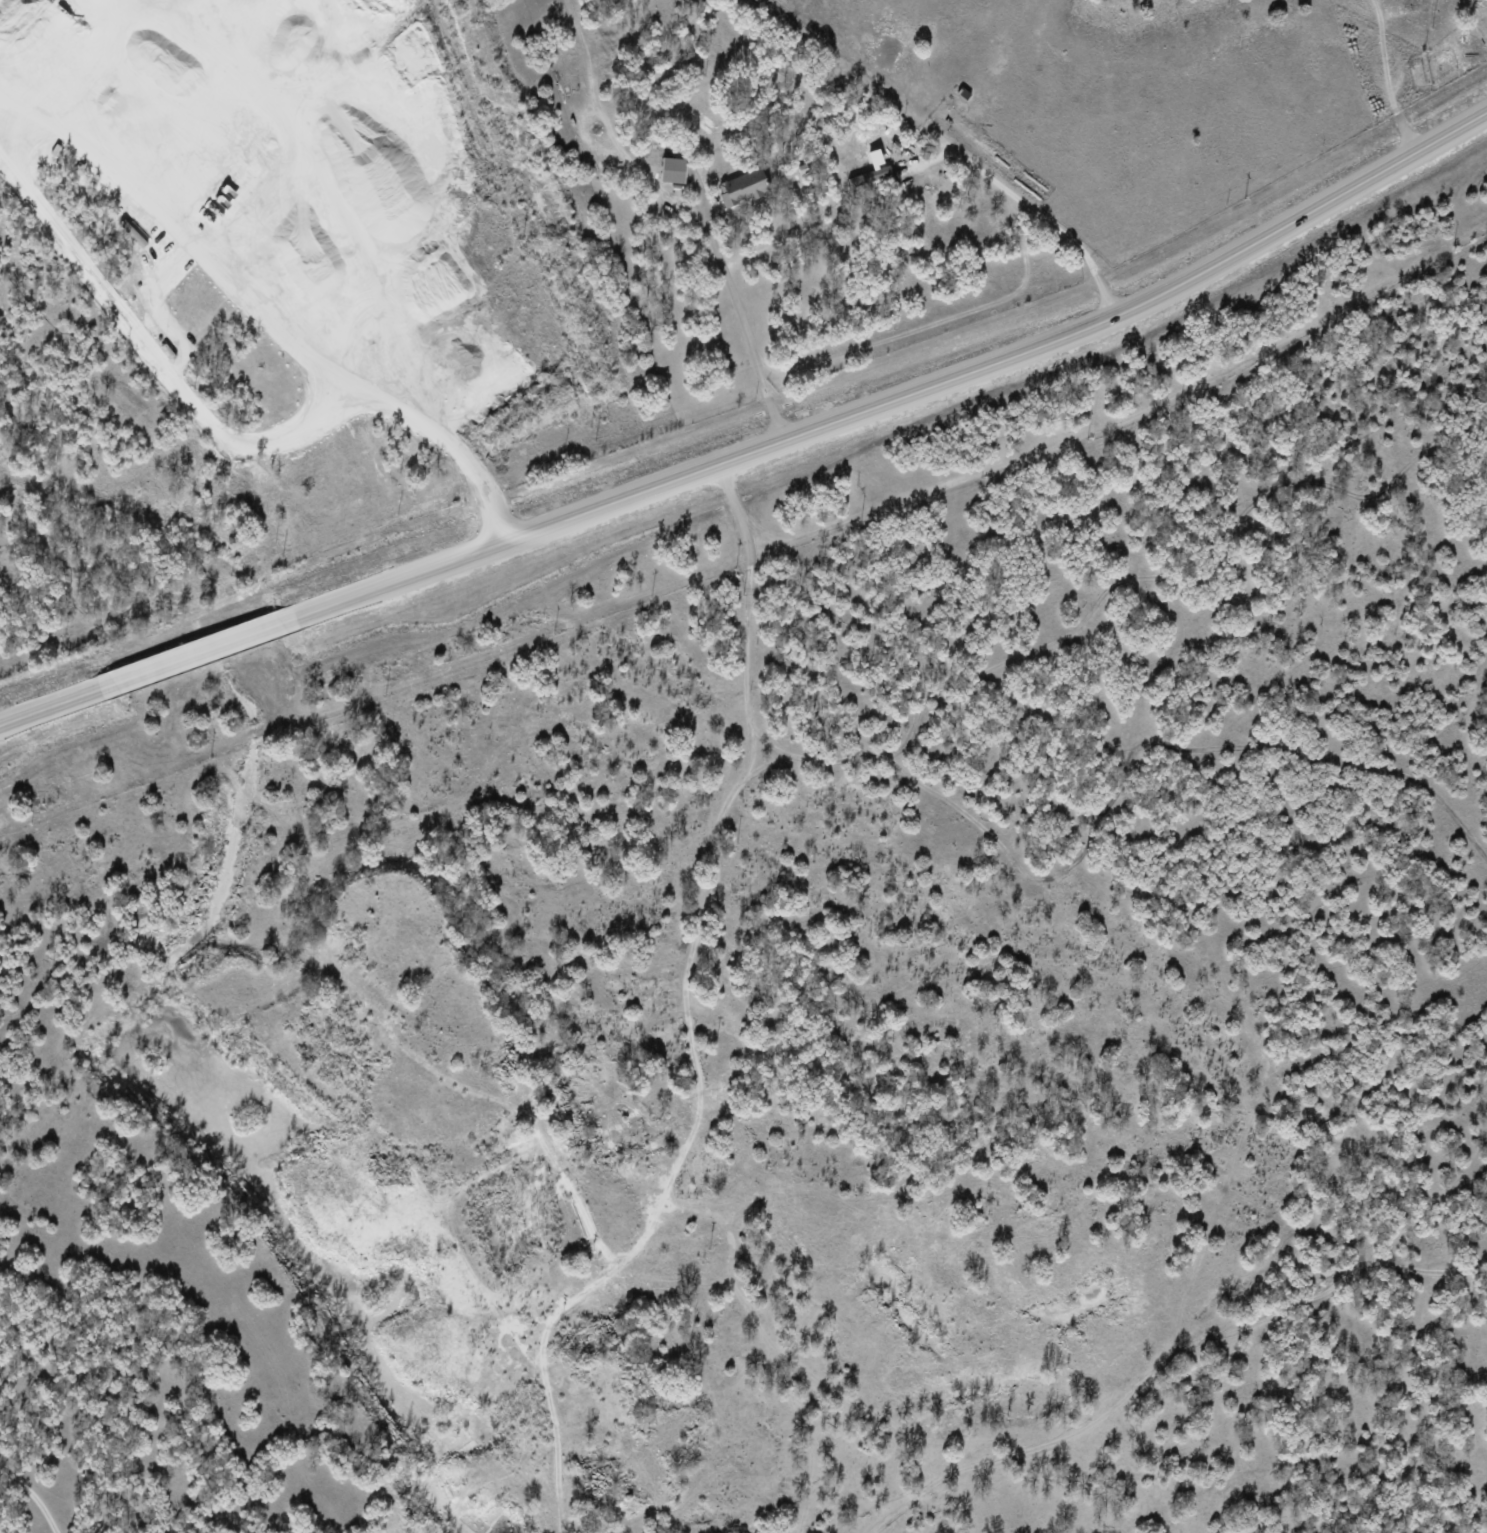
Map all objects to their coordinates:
quarry: (202, 121)
building: (674, 169)
building: (869, 176)
building: (742, 186)
road: (1031, 209)
road: (742, 323)
road: (333, 375)
road: (756, 446)

